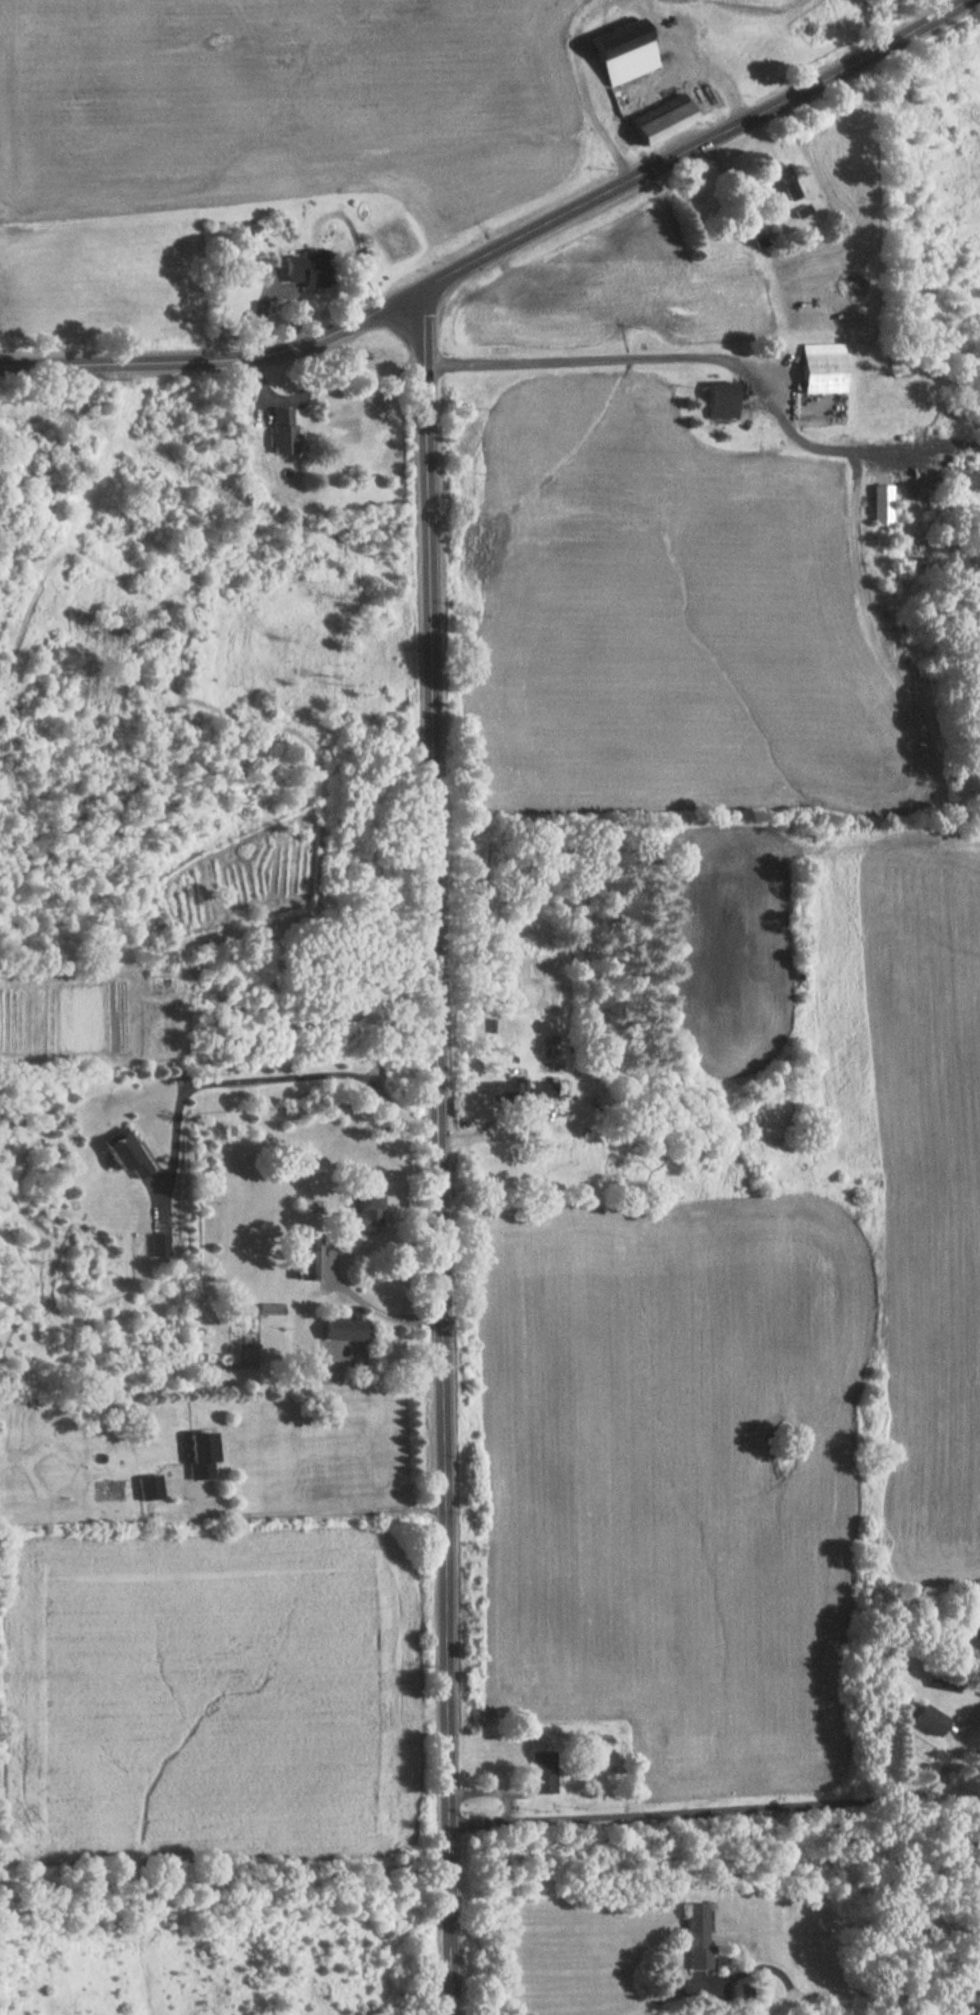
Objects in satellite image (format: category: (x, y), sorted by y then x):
building: (623, 51)
road: (695, 148)
building: (780, 193)
building: (758, 239)
building: (313, 273)
road: (216, 360)
road: (680, 361)
building: (823, 367)
building: (724, 399)
building: (282, 430)
building: (882, 504)
road: (270, 1080)
building: (506, 1090)
building: (543, 1091)
road: (494, 1132)
building: (126, 1152)
road: (438, 1153)
building: (364, 1211)
building: (305, 1266)
road: (371, 1303)
building: (345, 1330)
building: (202, 1455)
building: (149, 1487)
road: (317, 1512)
crop: (206, 1693)
building: (928, 1720)
building: (543, 1772)
road: (489, 1791)
road: (733, 1808)
building: (694, 1934)
road: (679, 1997)

